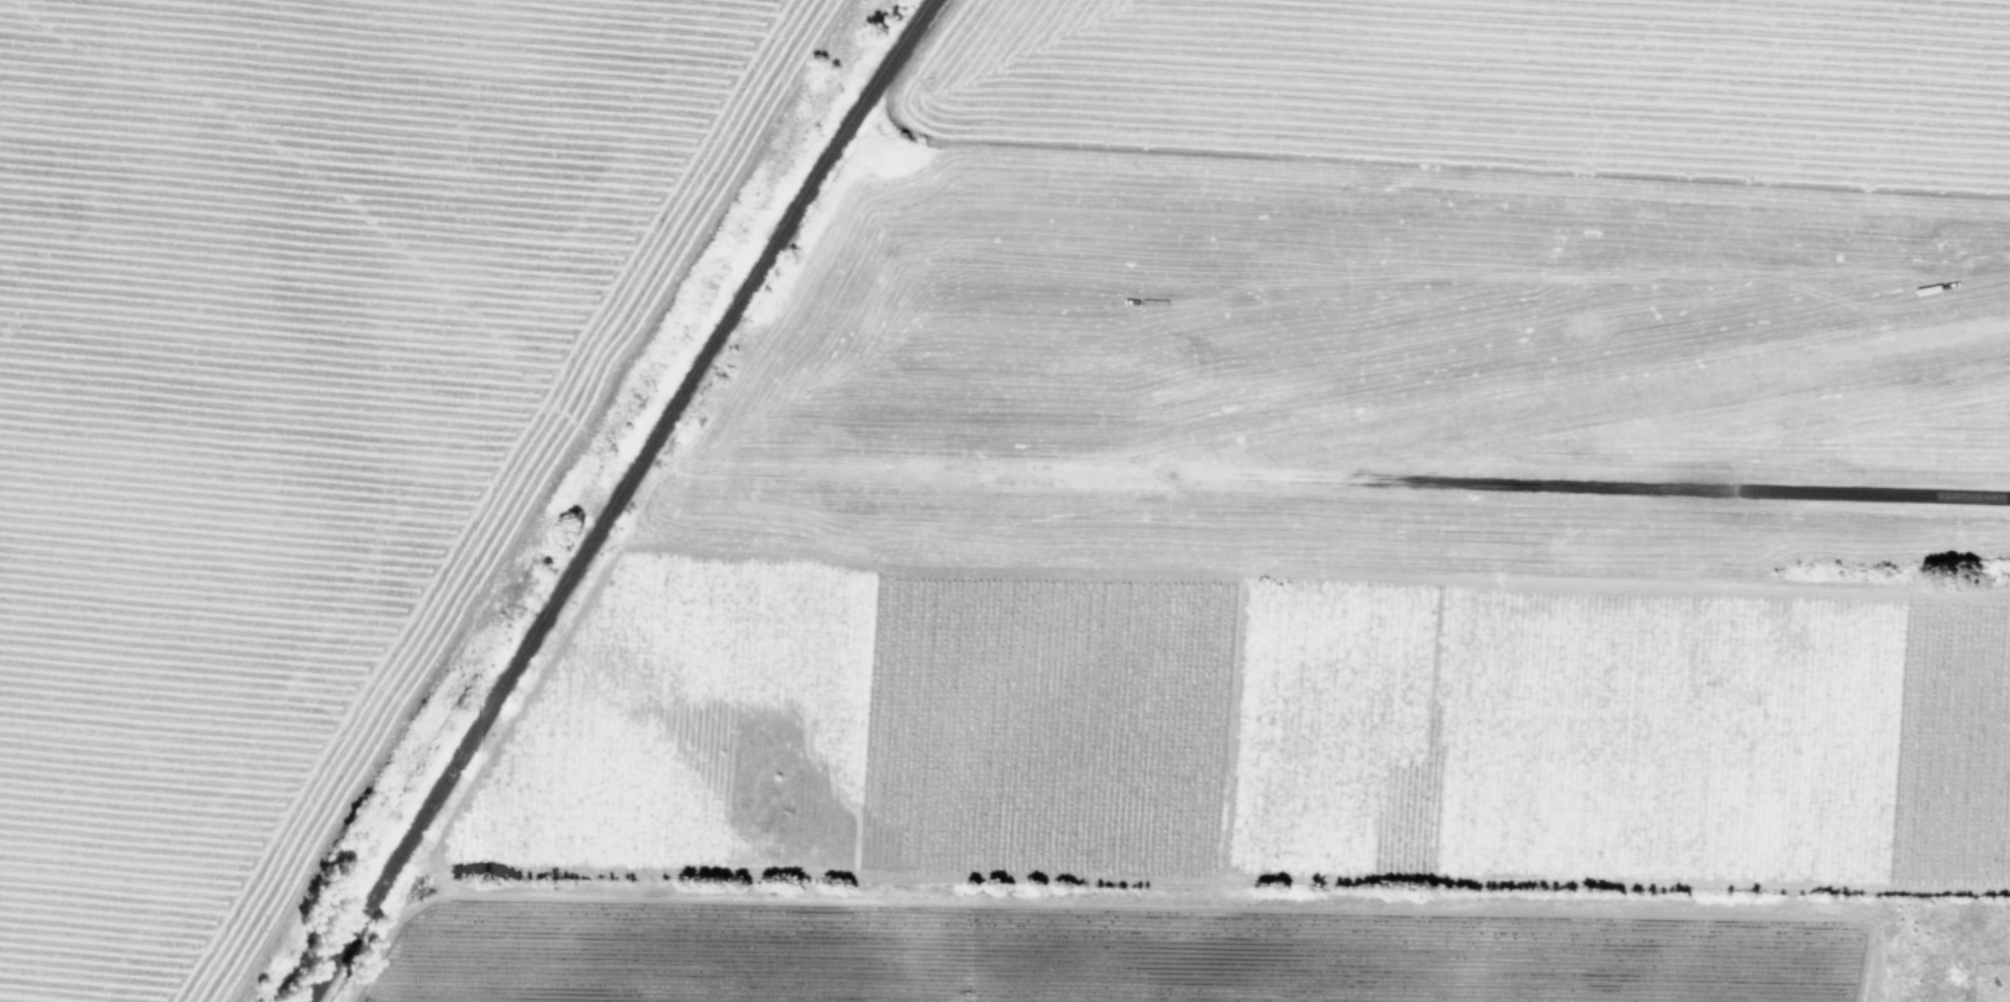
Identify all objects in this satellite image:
crop: (298, 403)
airport: (1602, 468)
airport runway: (1874, 492)
railway: (617, 497)
crop: (856, 510)

